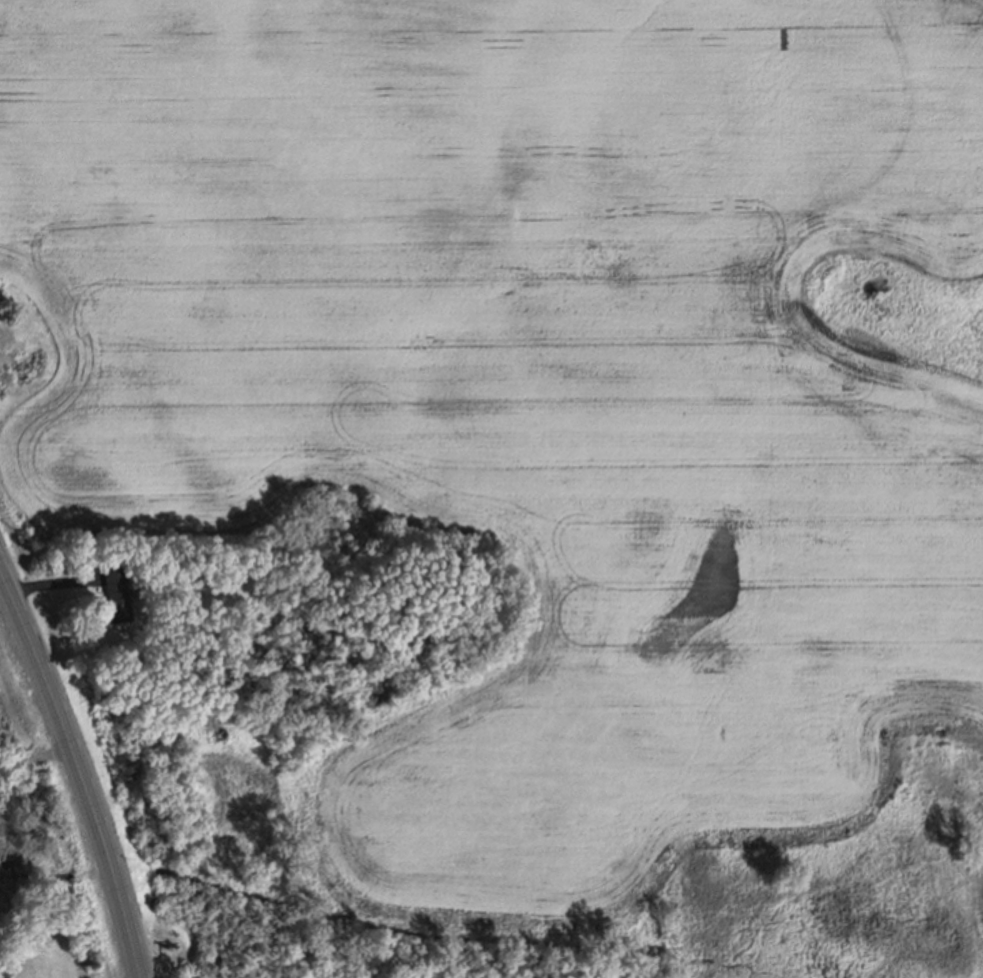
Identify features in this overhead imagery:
building: (5, 379)
building: (114, 597)
road: (81, 771)

